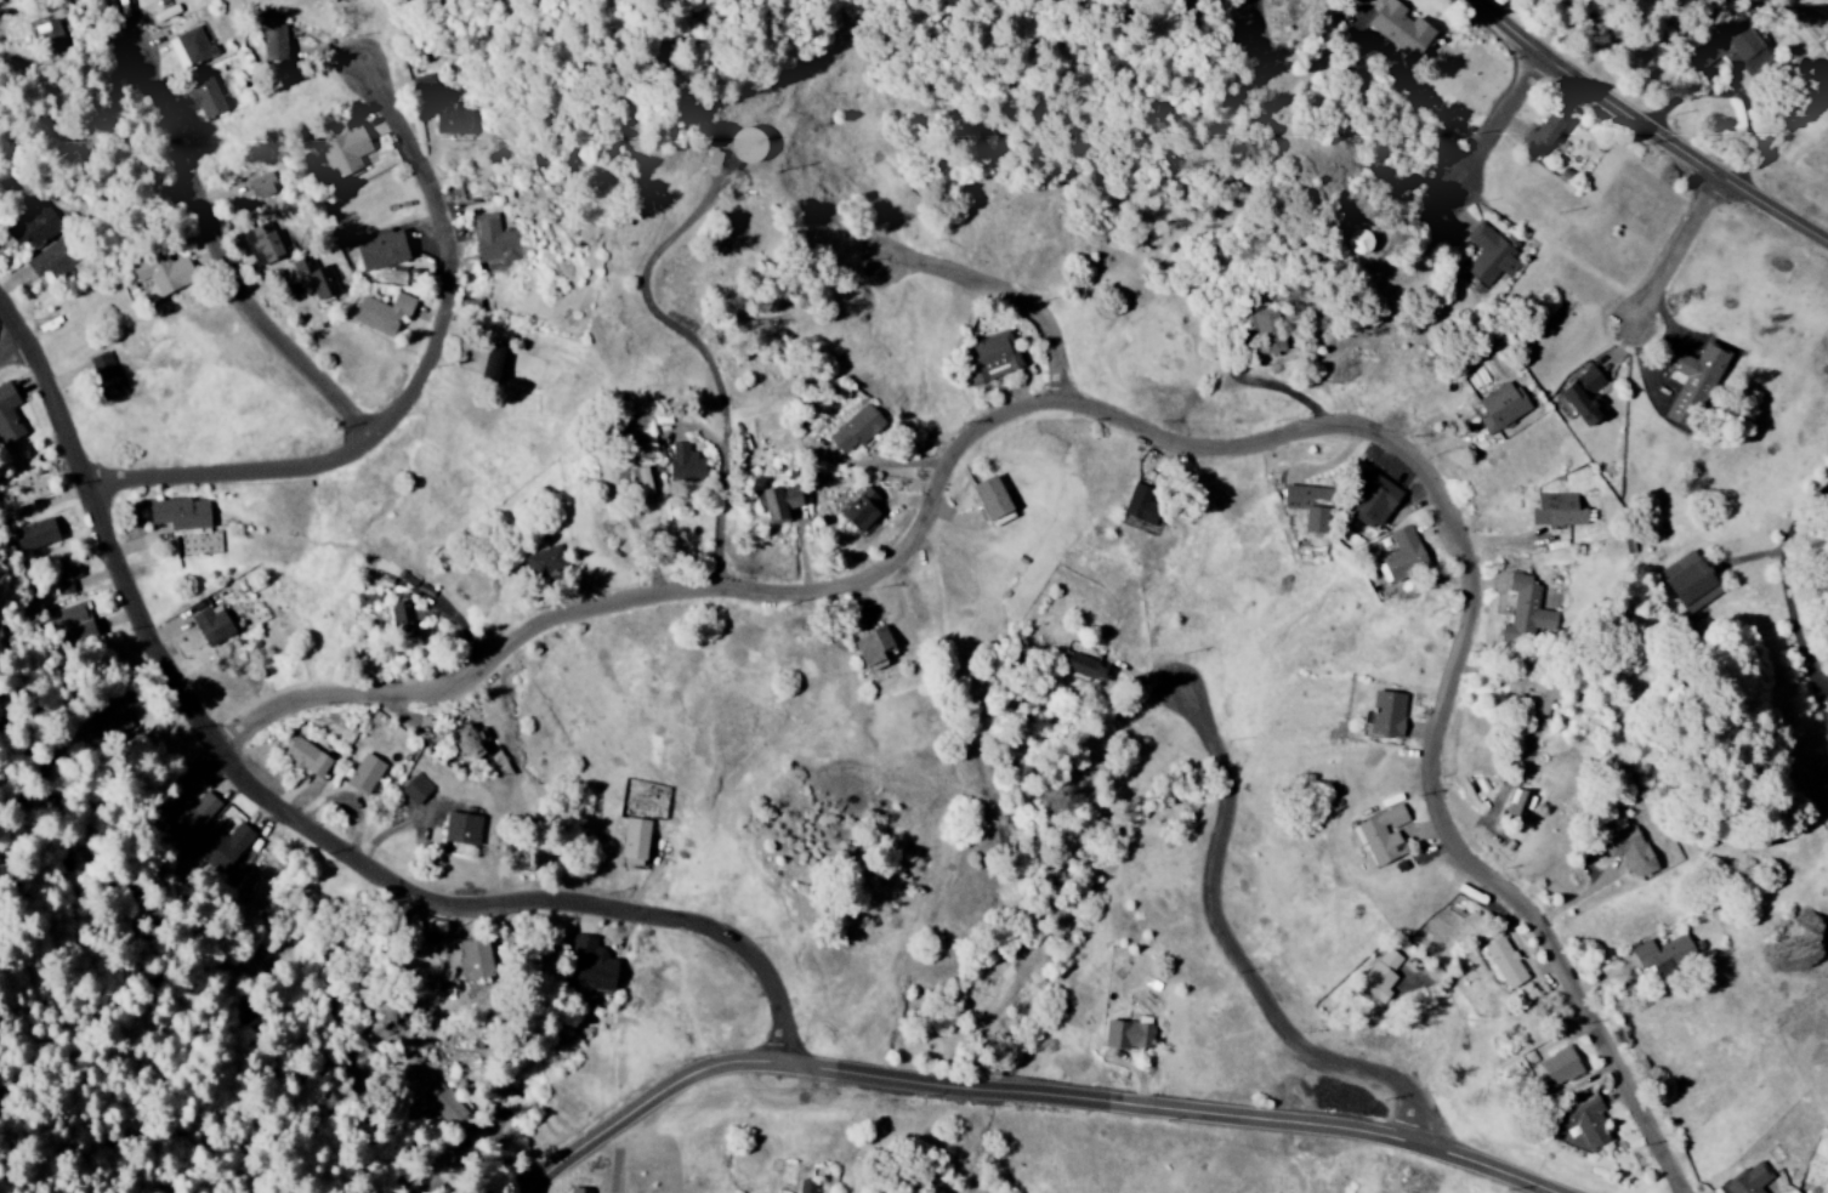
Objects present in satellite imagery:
building: (1400, 28)
building: (49, 35)
building: (274, 42)
building: (188, 47)
building: (1731, 51)
building: (424, 86)
building: (204, 96)
building: (452, 119)
road: (1508, 120)
road: (1651, 124)
building: (1542, 135)
building: (745, 147)
building: (344, 152)
building: (261, 186)
building: (33, 223)
building: (493, 242)
building: (1359, 242)
building: (263, 243)
road: (1688, 246)
building: (380, 250)
building: (1489, 257)
building: (47, 262)
road: (237, 262)
building: (161, 272)
building: (314, 278)
building: (382, 313)
road: (1075, 329)
road: (17, 354)
building: (992, 358)
road: (1071, 363)
building: (494, 364)
building: (104, 376)
building: (1692, 384)
road: (421, 392)
building: (1583, 396)
building: (1499, 408)
building: (7, 415)
building: (855, 430)
road: (1181, 439)
building: (685, 465)
building: (641, 482)
building: (992, 501)
building: (1372, 501)
building: (777, 502)
building: (1308, 506)
building: (861, 511)
building: (1559, 511)
building: (180, 513)
road: (740, 526)
building: (34, 535)
building: (1402, 556)
building: (544, 561)
building: (62, 574)
building: (1688, 583)
building: (1525, 610)
building: (68, 615)
building: (211, 625)
building: (80, 632)
building: (872, 649)
building: (1083, 667)
building: (1538, 701)
building: (117, 711)
building: (1385, 715)
building: (466, 743)
building: (1827, 750)
building: (306, 759)
building: (363, 774)
building: (415, 789)
building: (1518, 803)
road: (301, 813)
building: (188, 816)
building: (460, 830)
building: (634, 842)
building: (221, 847)
building: (1629, 852)
road: (1254, 958)
building: (1667, 958)
building: (473, 960)
building: (1504, 964)
building: (589, 967)
building: (1380, 976)
building: (1128, 1035)
building: (1560, 1067)
road: (1037, 1092)
building: (447, 1109)
building: (1580, 1124)
building: (1748, 1180)
building: (806, 1187)
building: (578, 1191)

